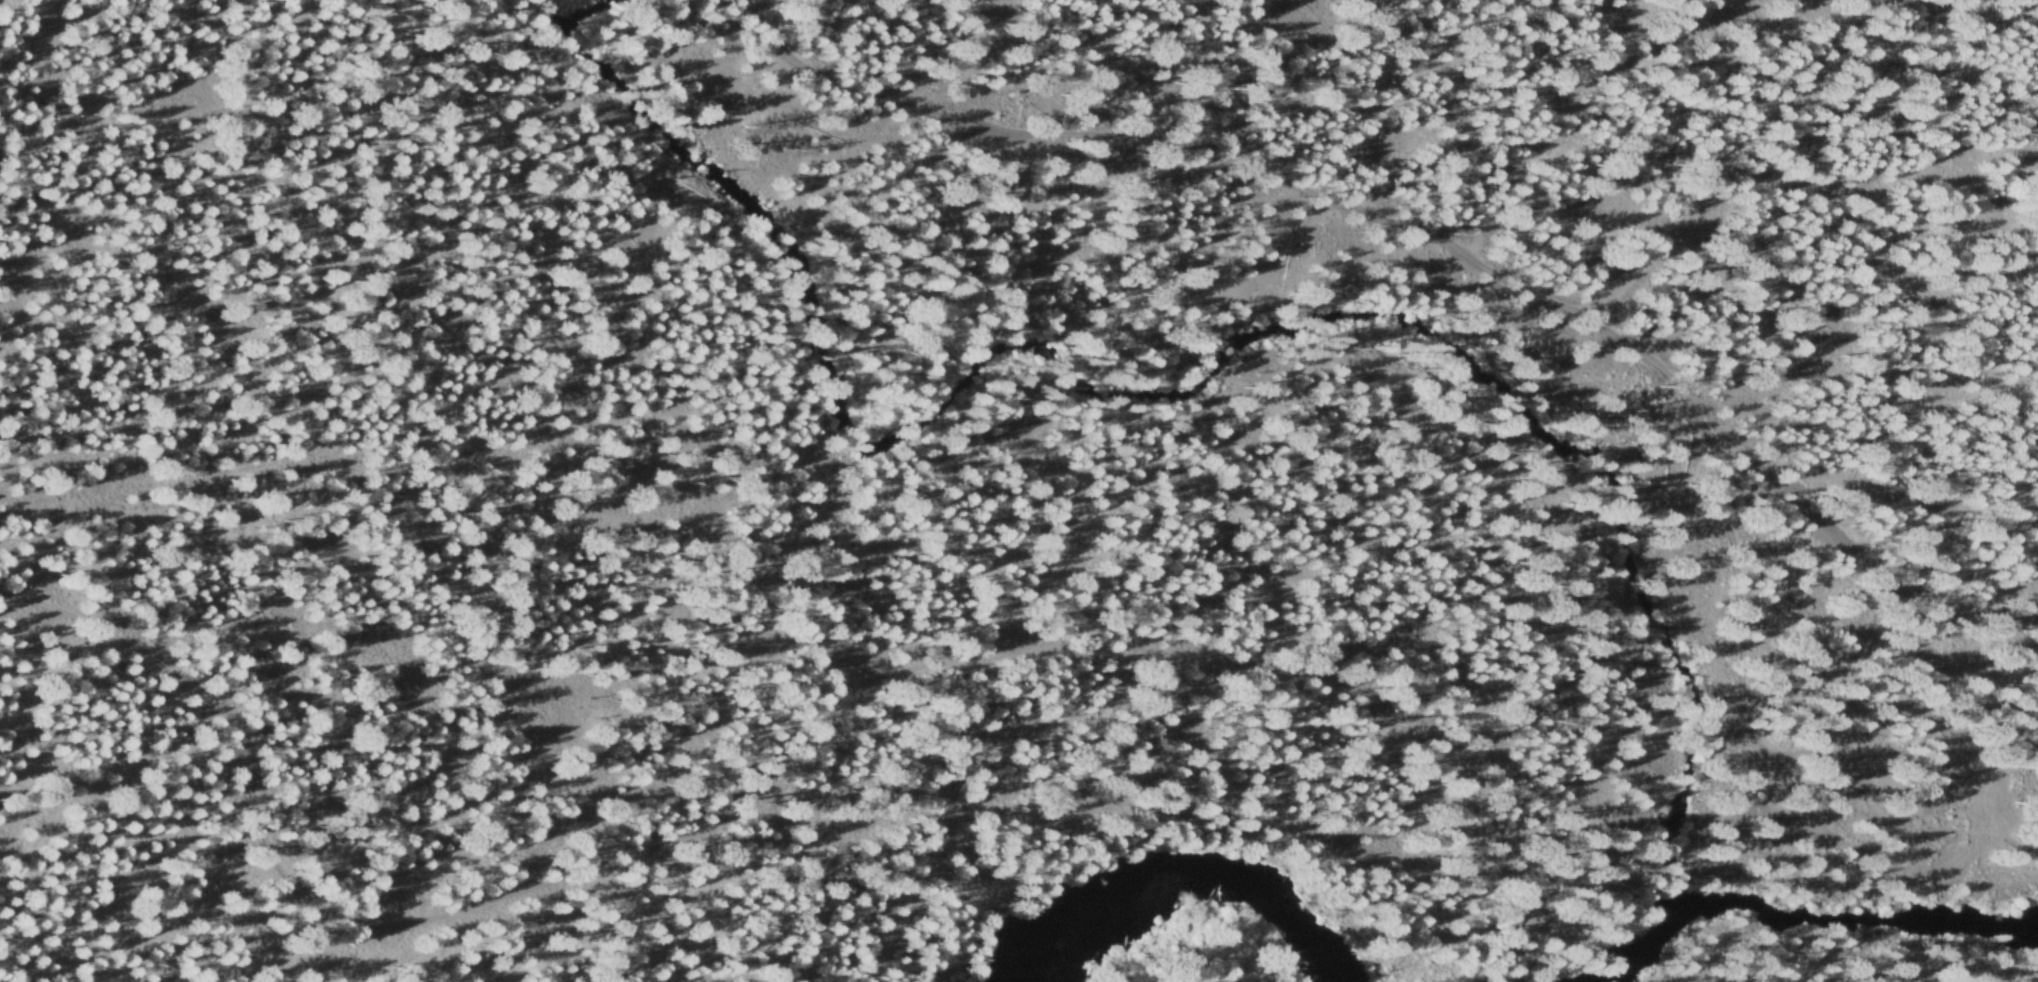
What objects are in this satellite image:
road: (1258, 166)
road: (1719, 177)
parking lot: (1982, 823)
road: (2009, 834)
road: (1935, 860)
river: (1174, 888)
road: (423, 897)
river: (1787, 913)

